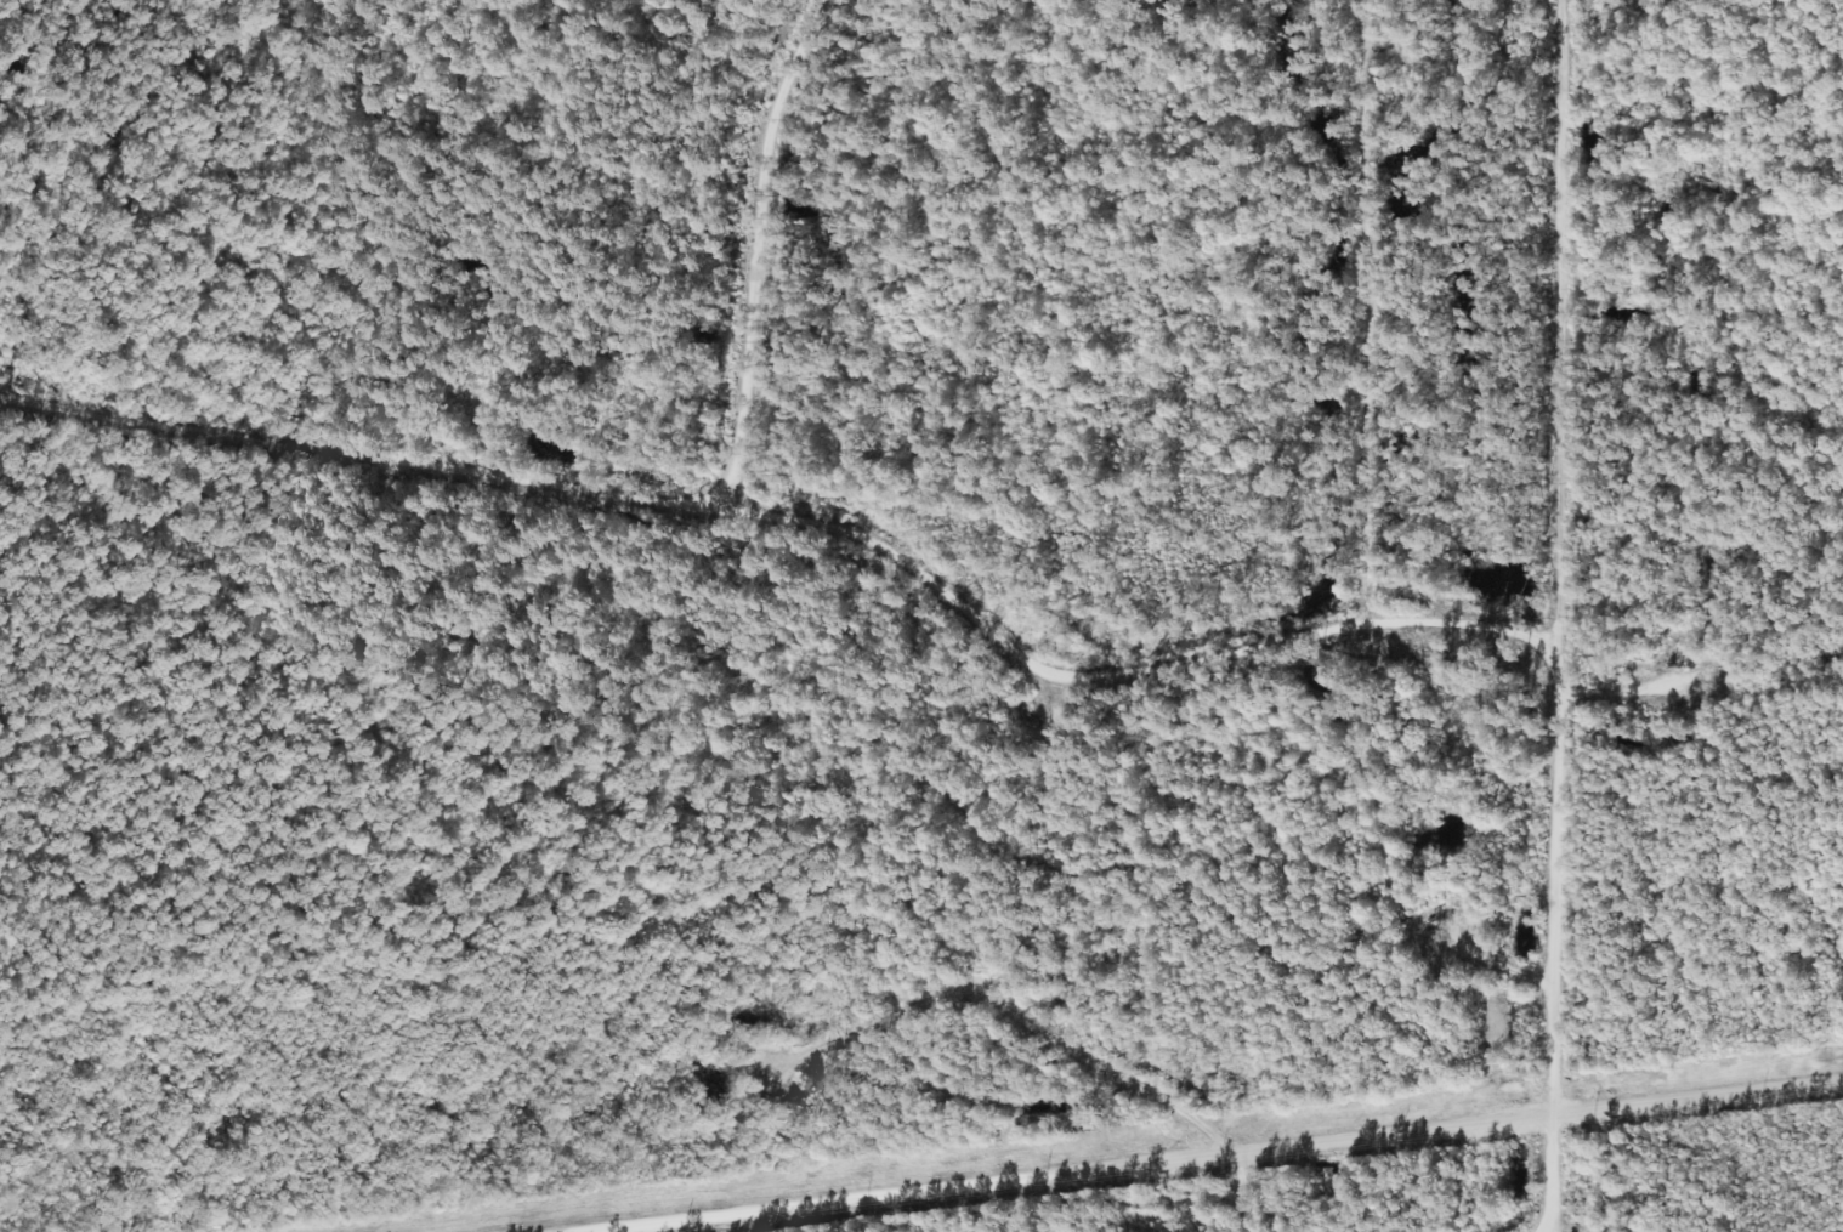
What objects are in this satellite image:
road: (34, 212)
road: (735, 233)
road: (981, 612)
road: (1563, 615)
road: (1459, 619)
road: (1626, 692)
road: (1042, 1015)

